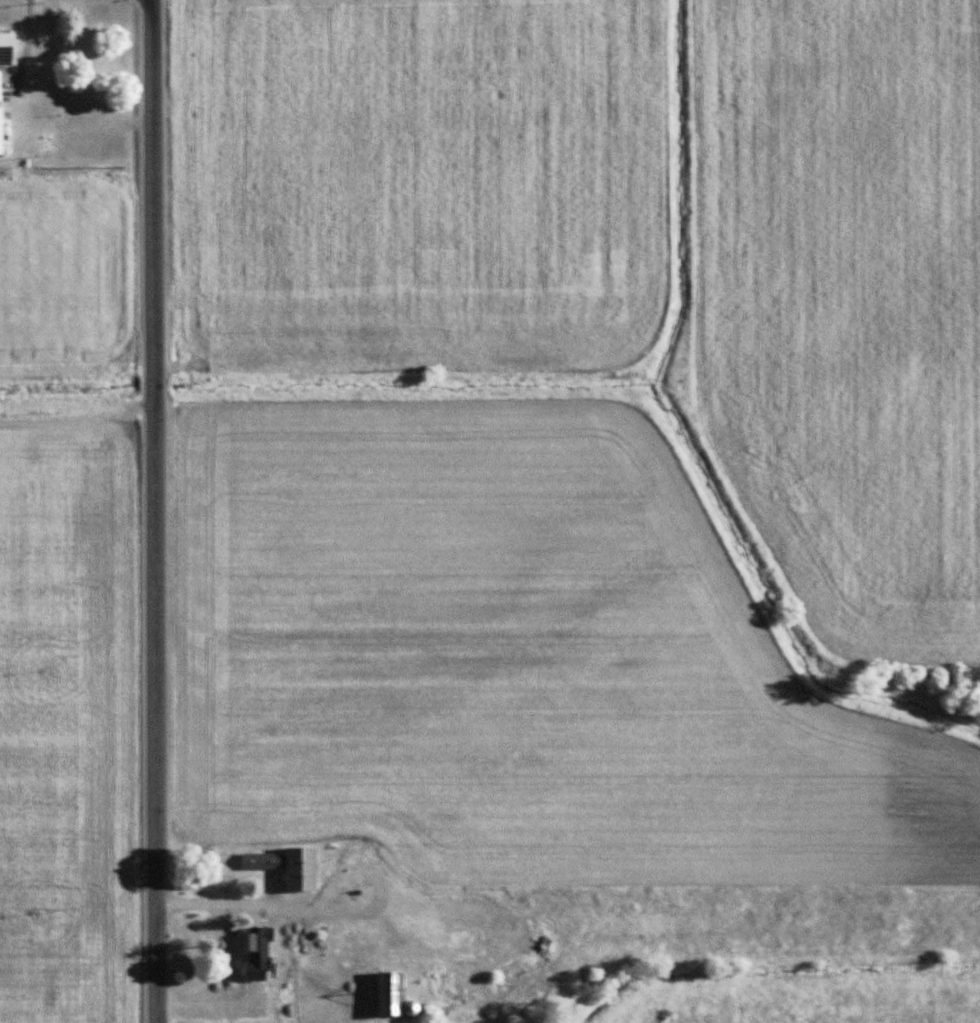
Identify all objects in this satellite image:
building: (6, 50)
building: (1, 131)
road: (152, 511)
building: (262, 861)
building: (301, 869)
road: (209, 901)
building: (228, 945)
building: (389, 993)

